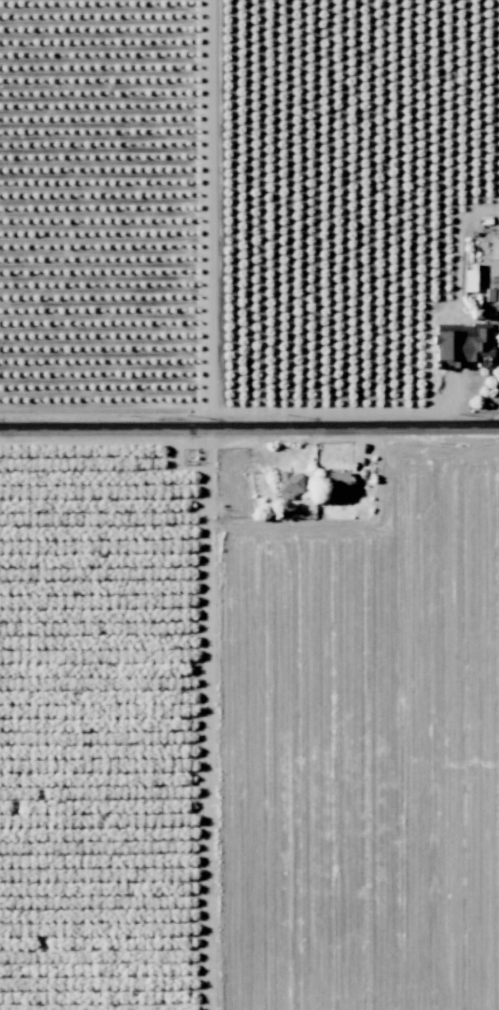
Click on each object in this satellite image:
road: (486, 208)
building: (494, 247)
building: (469, 280)
building: (492, 295)
building: (461, 345)
road: (249, 431)
building: (336, 480)
building: (288, 484)
crop: (357, 725)

